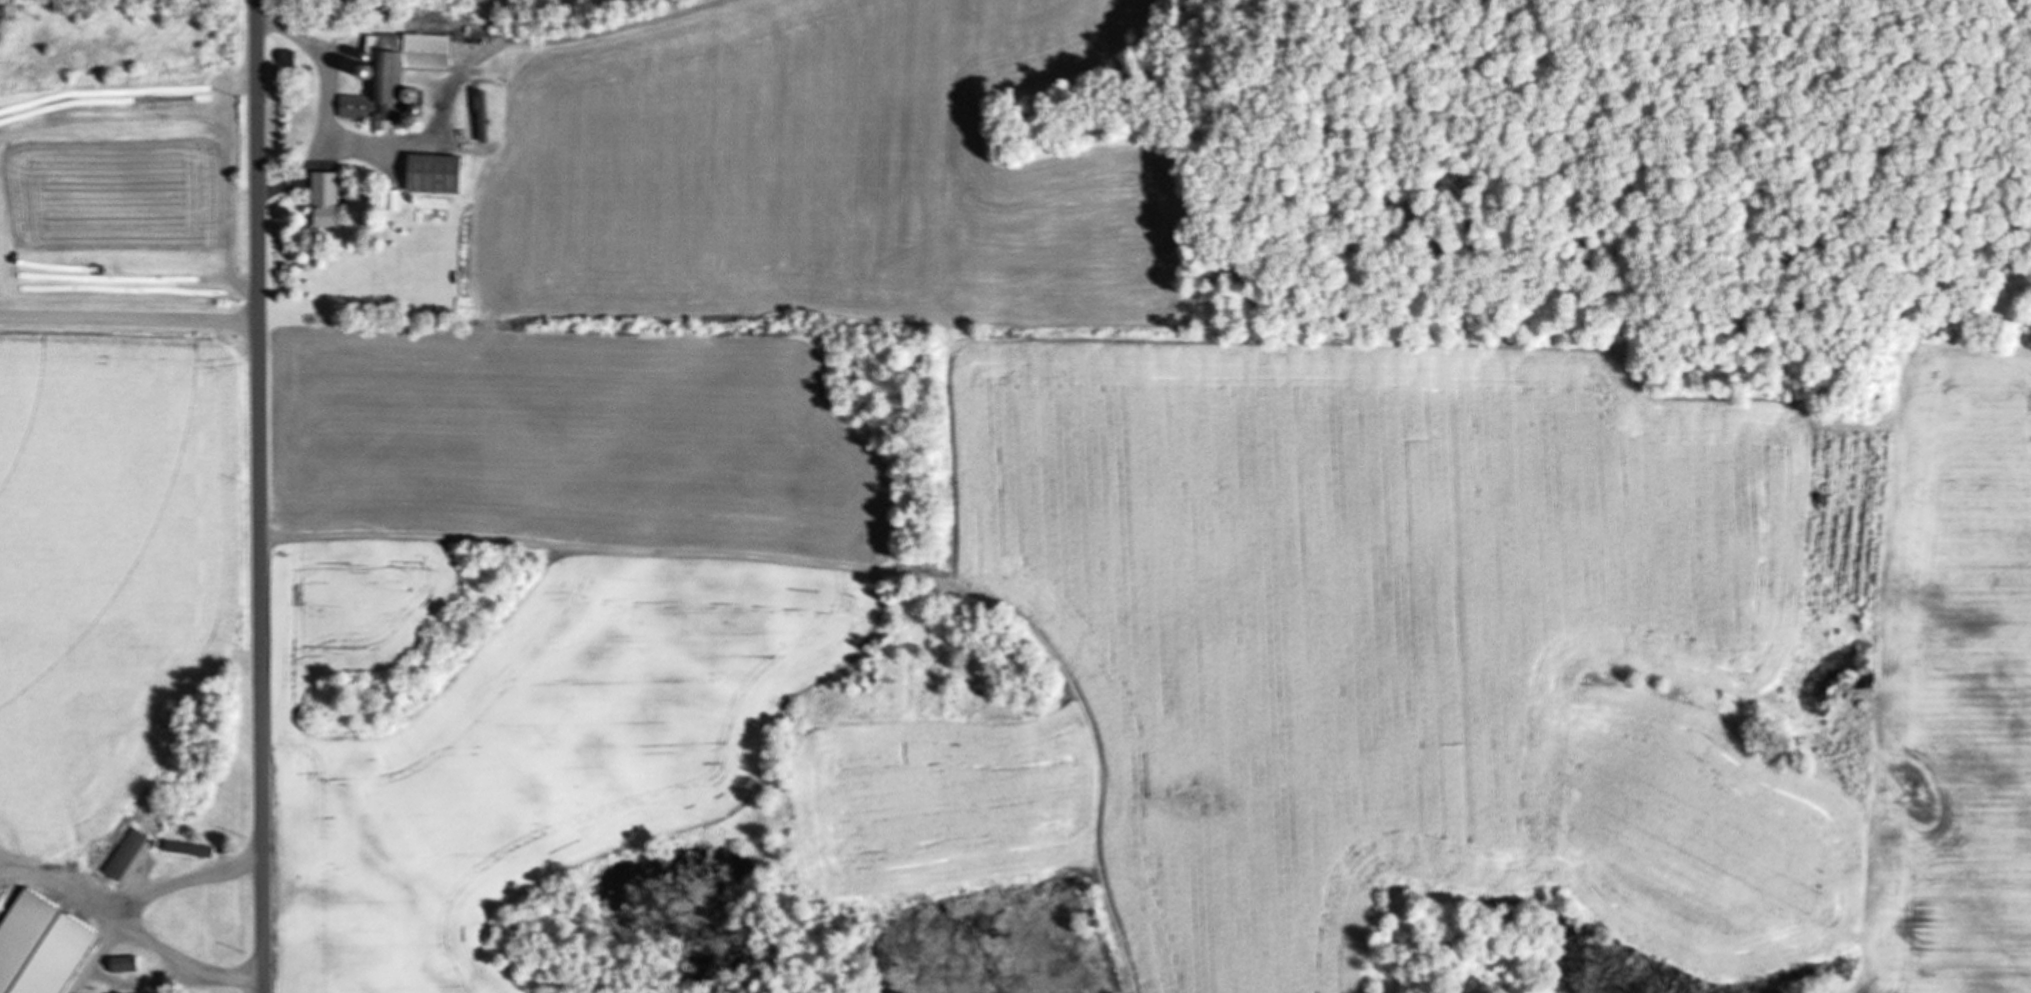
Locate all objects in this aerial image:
building: (394, 73)
building: (433, 174)
building: (325, 200)
building: (391, 200)
road: (129, 320)
road: (260, 496)
building: (188, 849)
building: (123, 854)
road: (137, 917)
building: (70, 920)
road: (100, 952)
building: (120, 964)
building: (42, 982)

